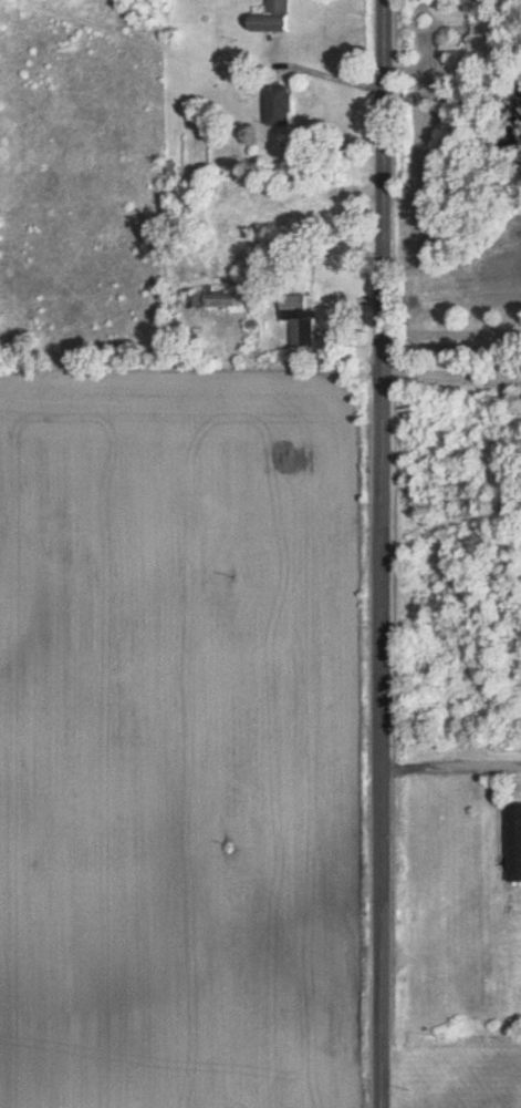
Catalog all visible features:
building: (275, 18)
road: (329, 78)
building: (284, 107)
building: (295, 219)
building: (217, 300)
building: (302, 322)
road: (452, 335)
road: (452, 367)
road: (384, 554)
road: (452, 756)
building: (513, 843)

